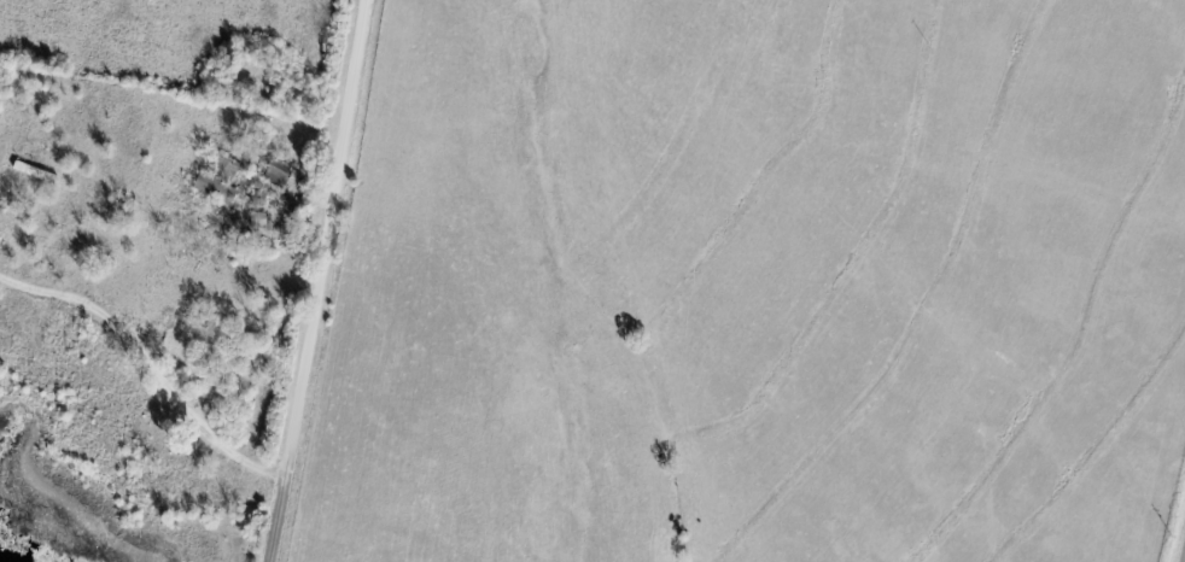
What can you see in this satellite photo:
road: (326, 281)
road: (151, 362)

